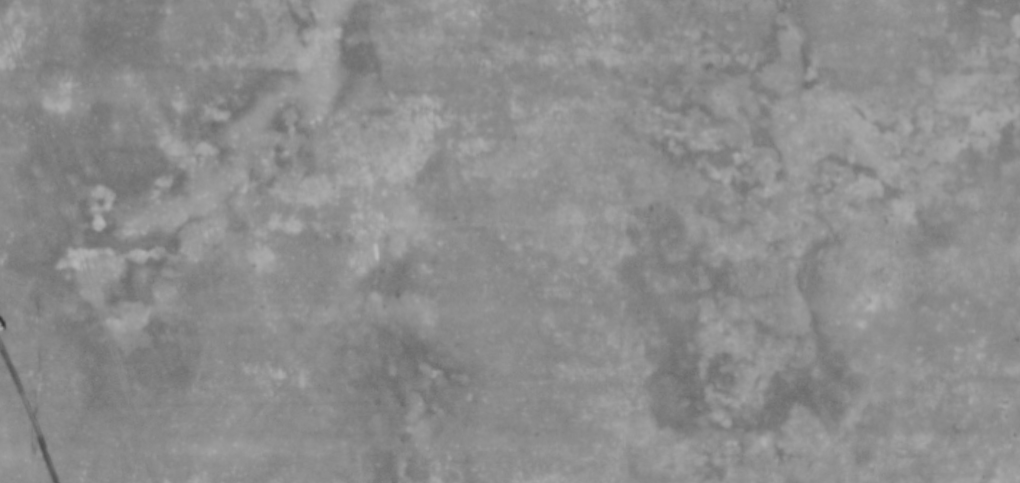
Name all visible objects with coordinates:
road: (901, 331)

